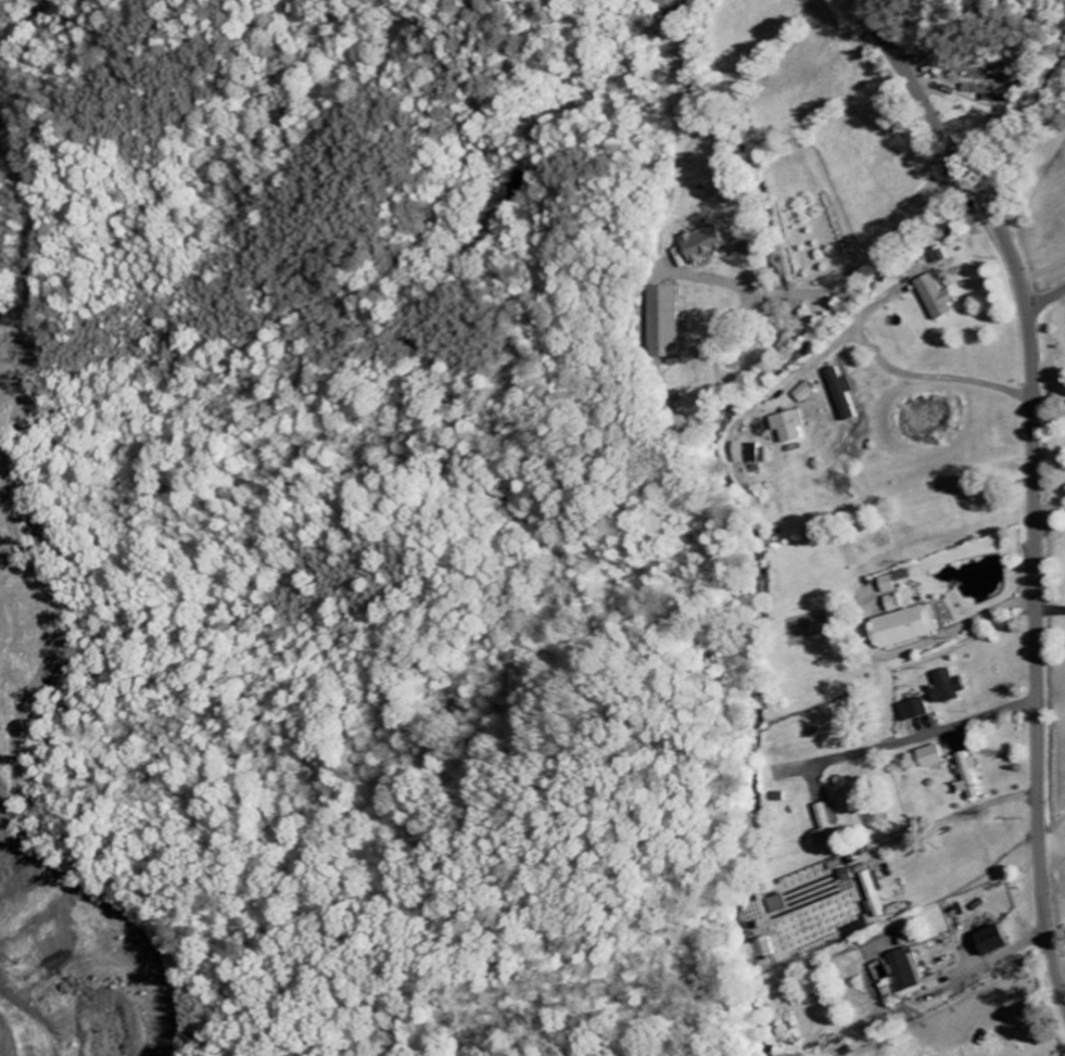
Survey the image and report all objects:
road: (933, 30)
building: (991, 93)
building: (708, 245)
road: (1043, 275)
building: (941, 298)
road: (1047, 300)
road: (822, 360)
road: (902, 374)
landfill: (11, 381)
building: (807, 393)
building: (793, 428)
road: (1035, 476)
building: (896, 582)
road: (1050, 586)
building: (896, 603)
building: (911, 627)
building: (951, 688)
building: (915, 711)
road: (916, 740)
building: (972, 775)
landfill: (61, 893)
building: (876, 894)
building: (998, 942)
road: (13, 1036)

